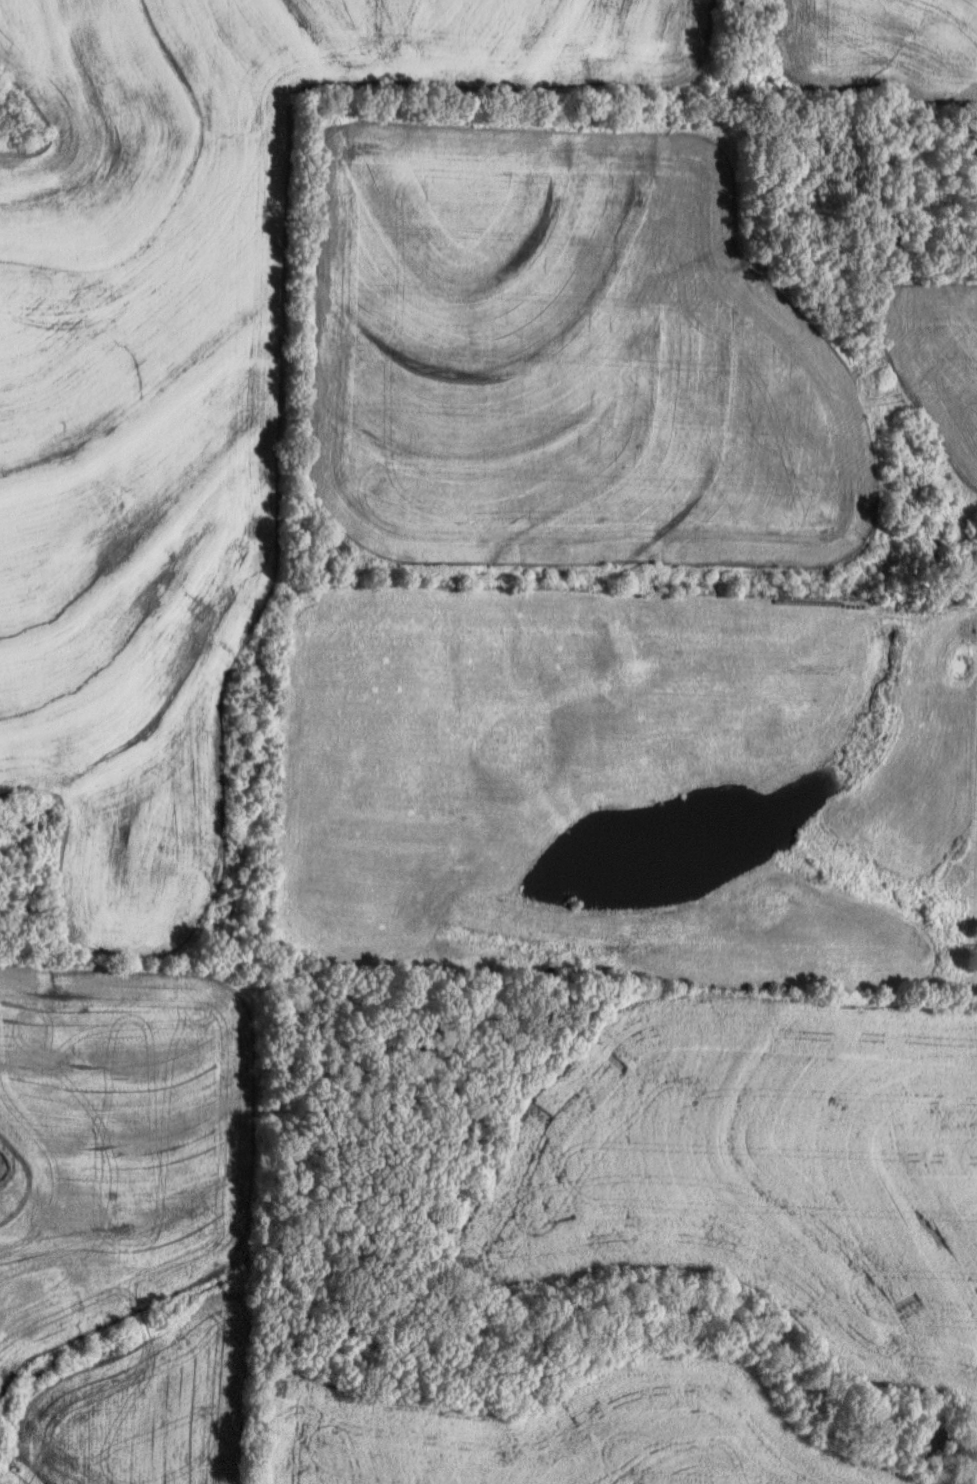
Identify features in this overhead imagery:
crop: (877, 46)
crop: (183, 390)

